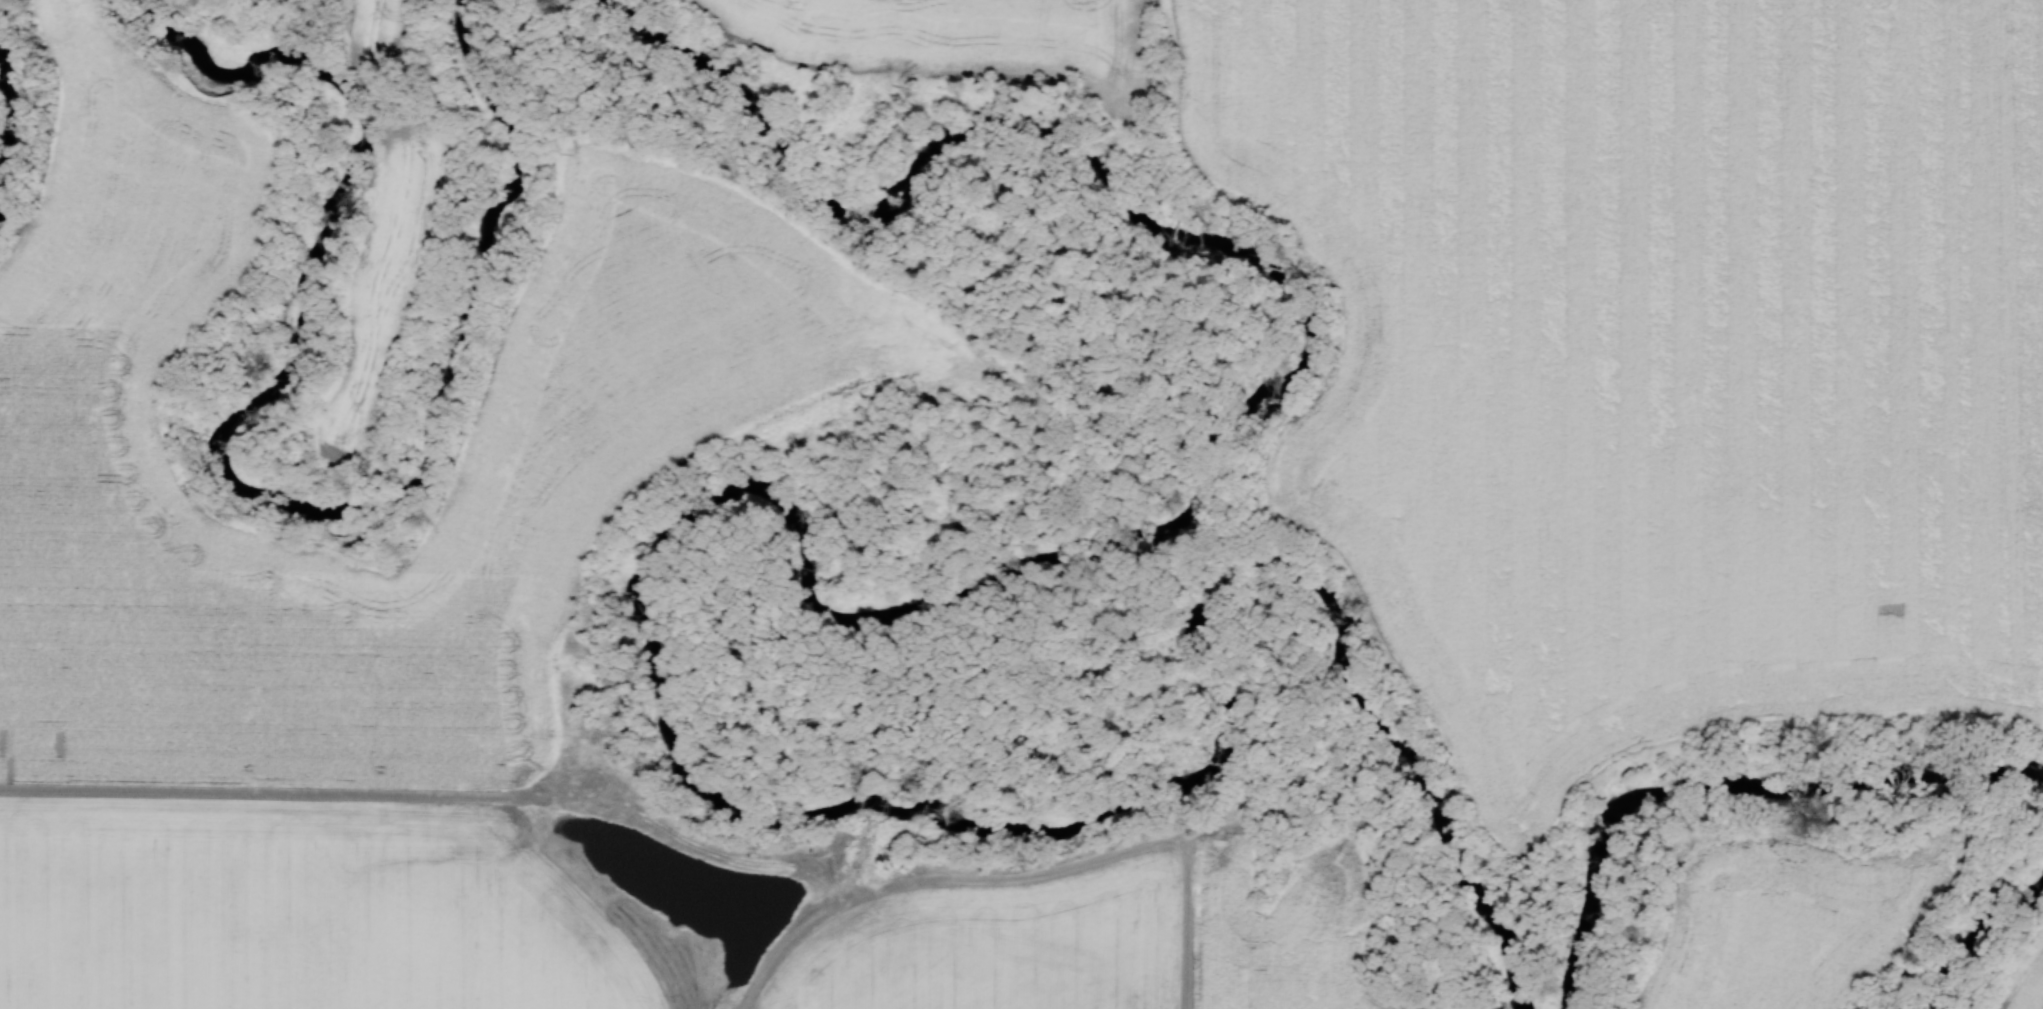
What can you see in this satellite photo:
river: (3, 127)
river: (229, 486)
river: (730, 506)
river: (1733, 797)
river: (1987, 949)

